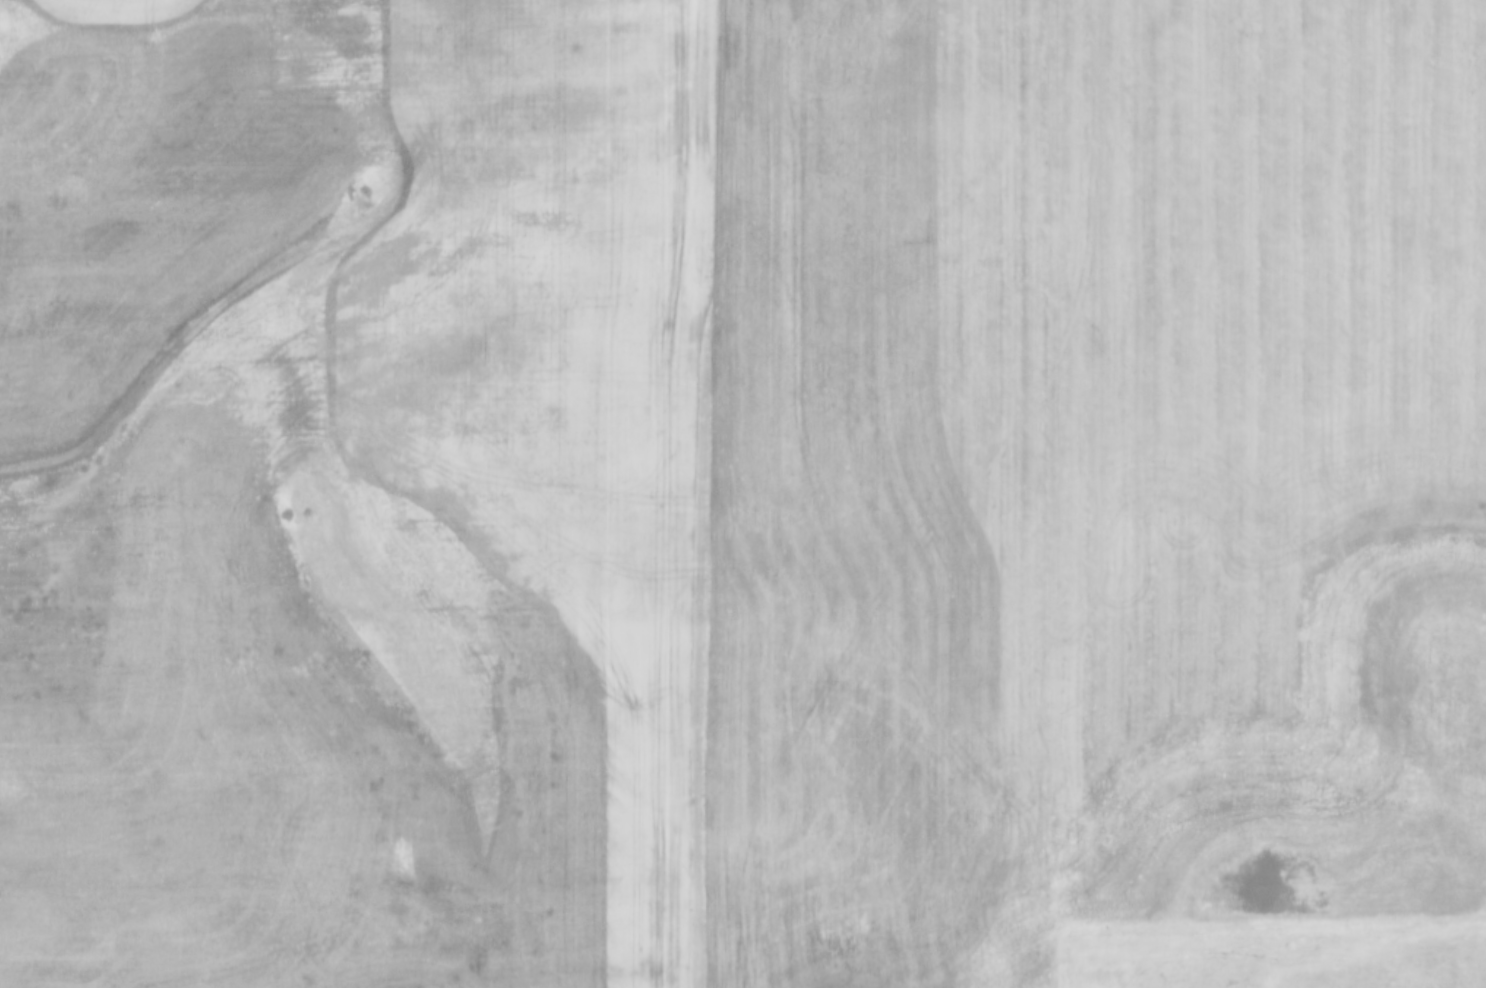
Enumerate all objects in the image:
road: (1244, 925)

